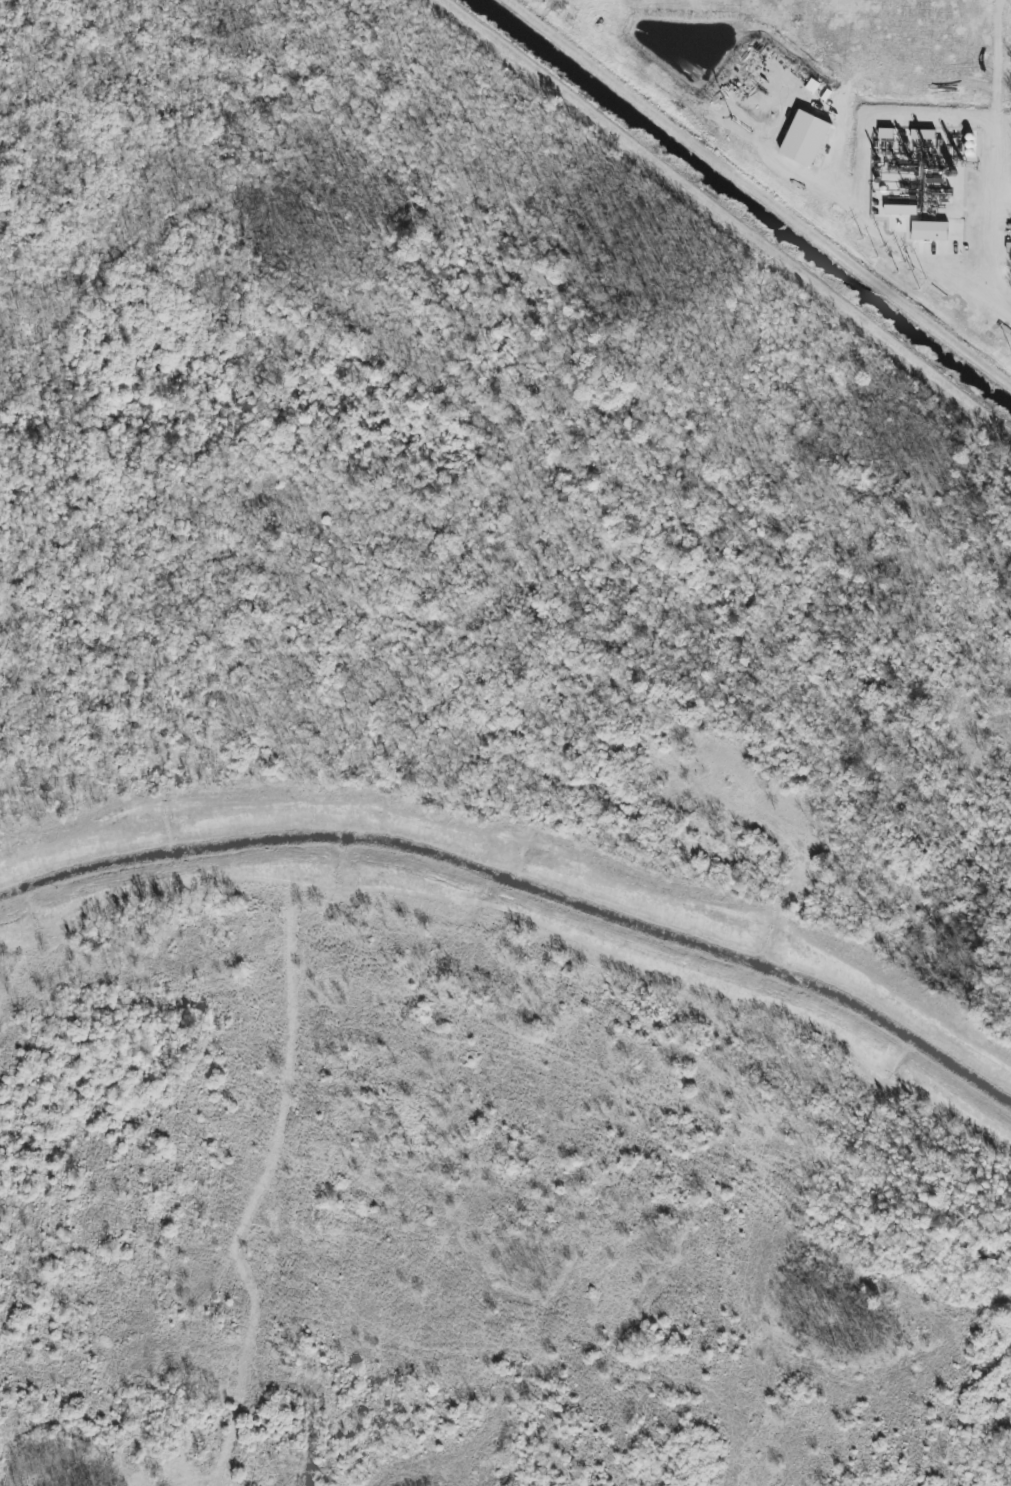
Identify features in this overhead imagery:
building: (806, 138)
building: (930, 230)
road: (892, 239)

